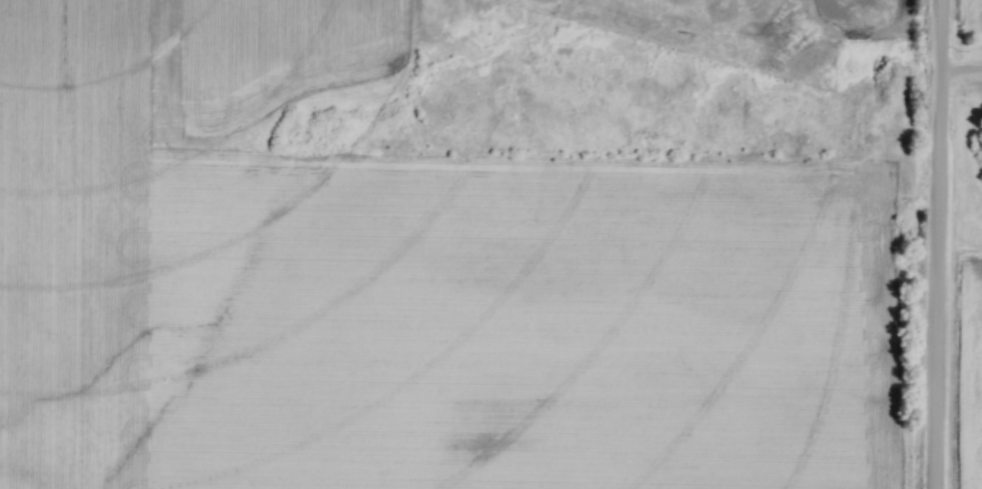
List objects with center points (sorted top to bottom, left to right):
road: (960, 73)
road: (933, 244)

